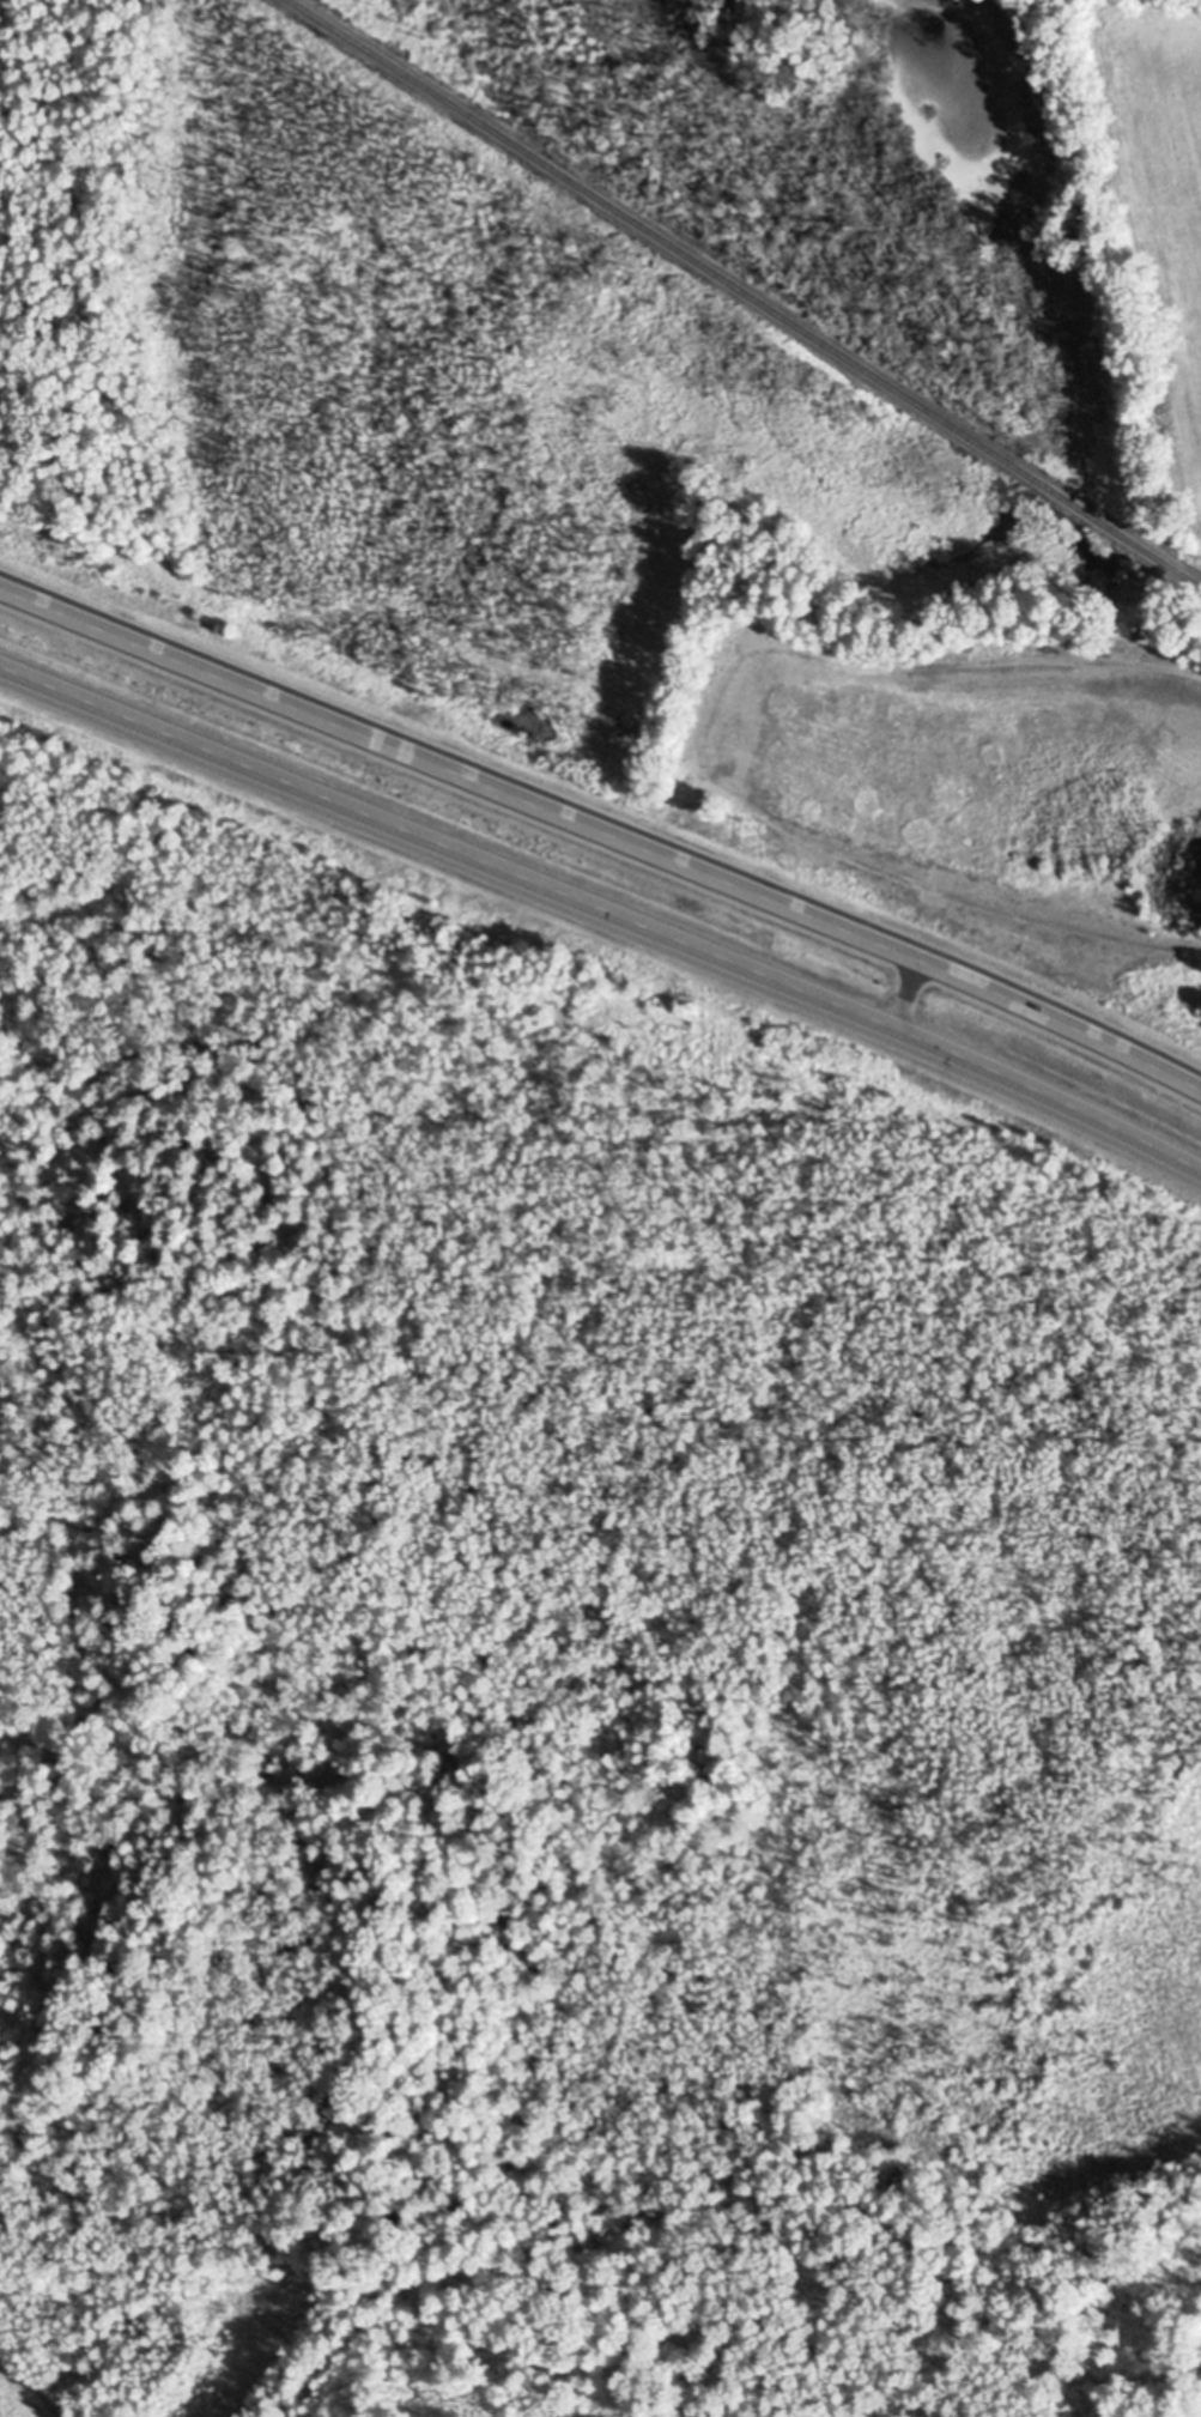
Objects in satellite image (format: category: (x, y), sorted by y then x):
railway: (746, 292)
road: (602, 831)
road: (603, 913)

